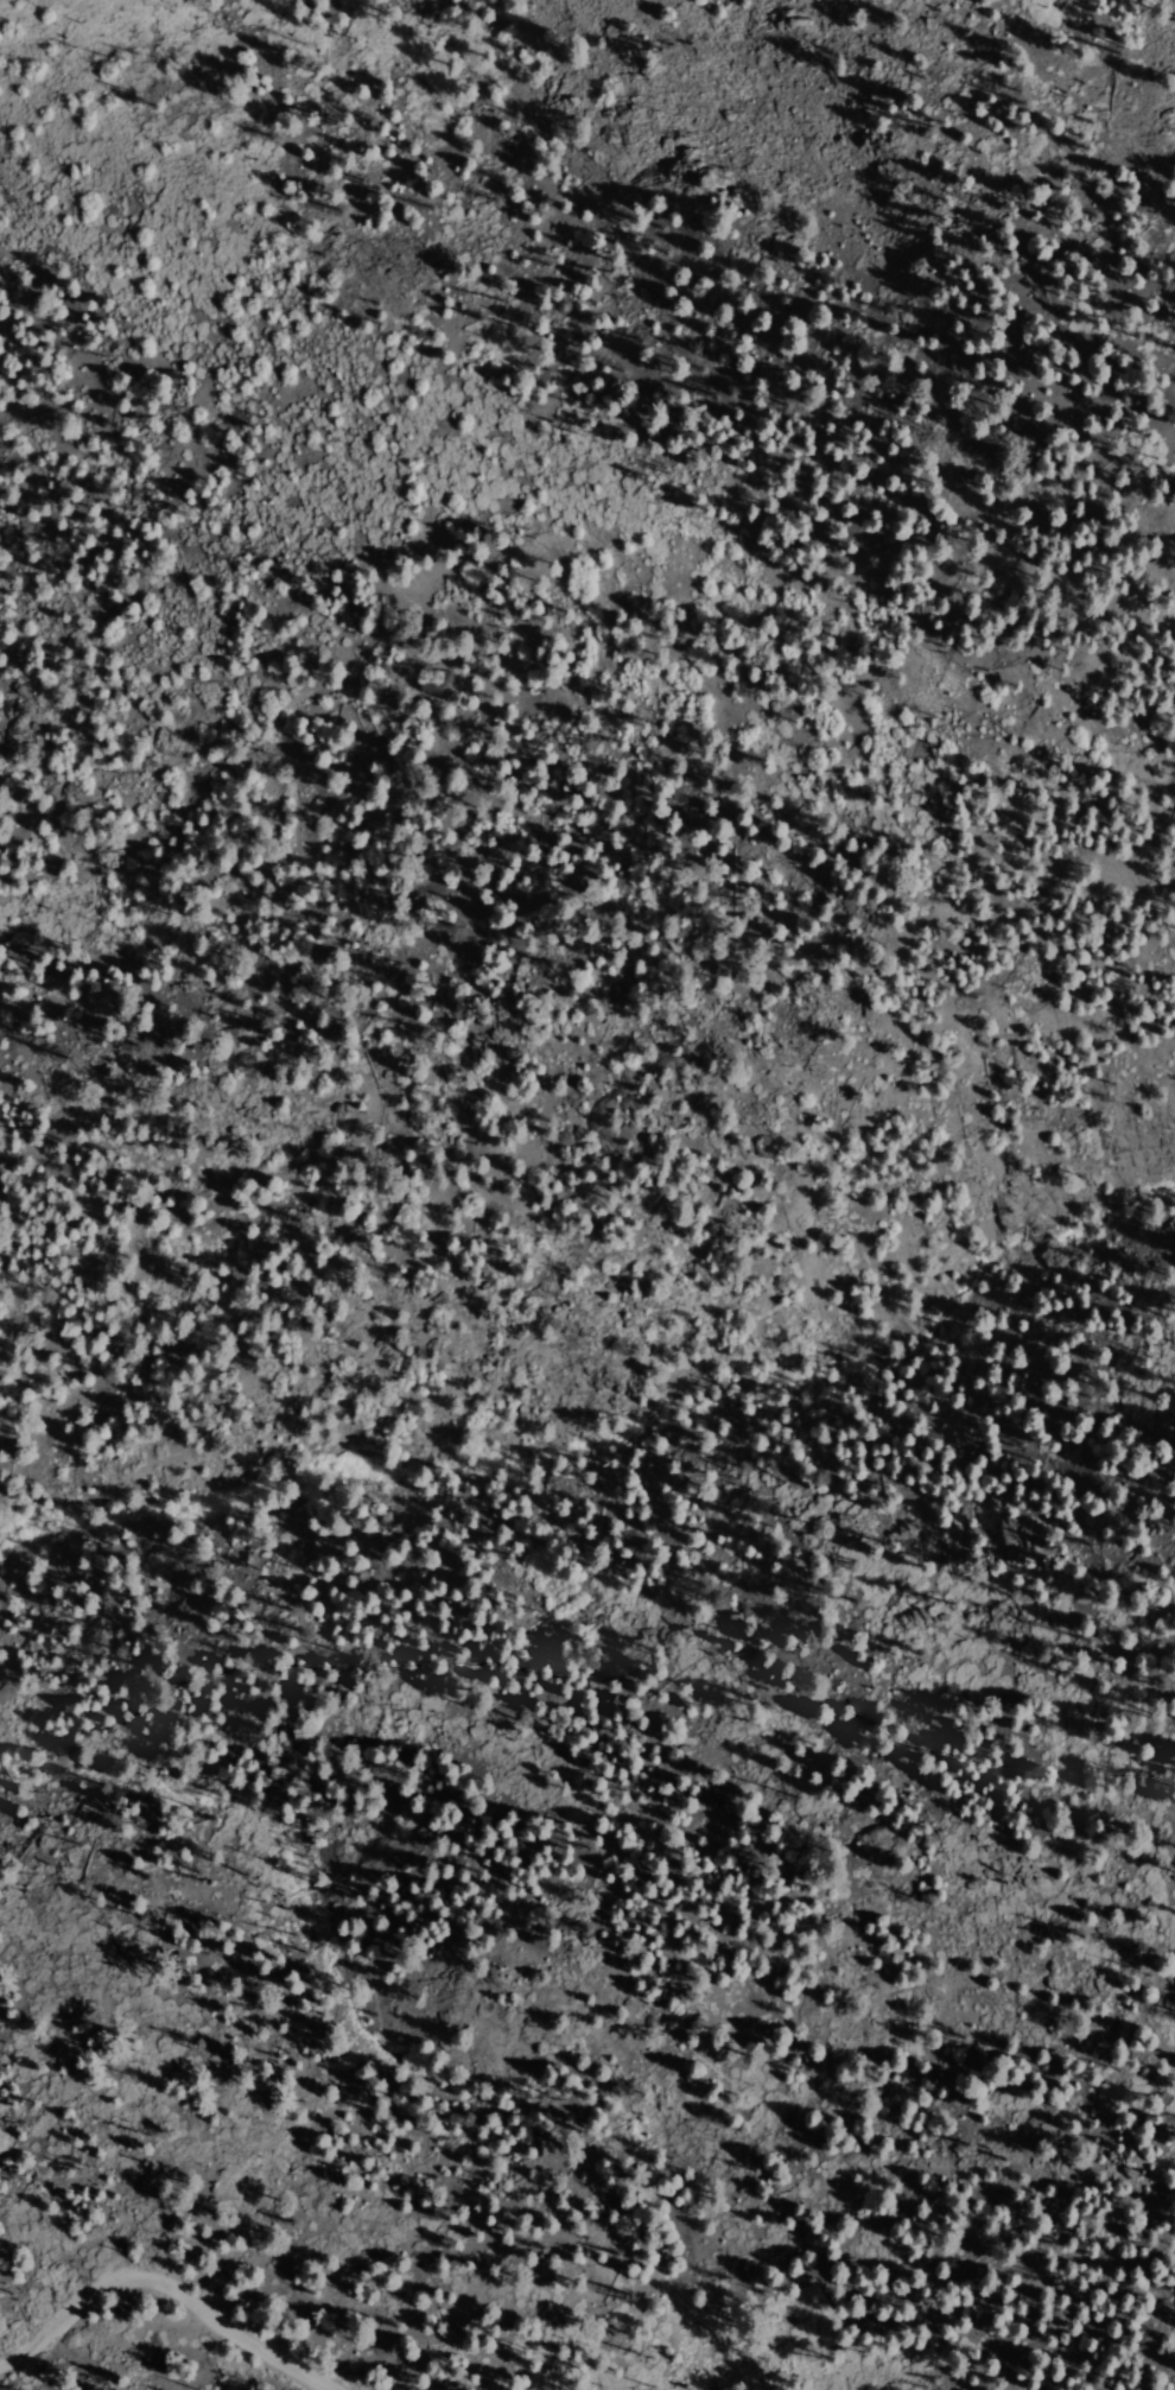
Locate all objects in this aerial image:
road: (173, 2288)

